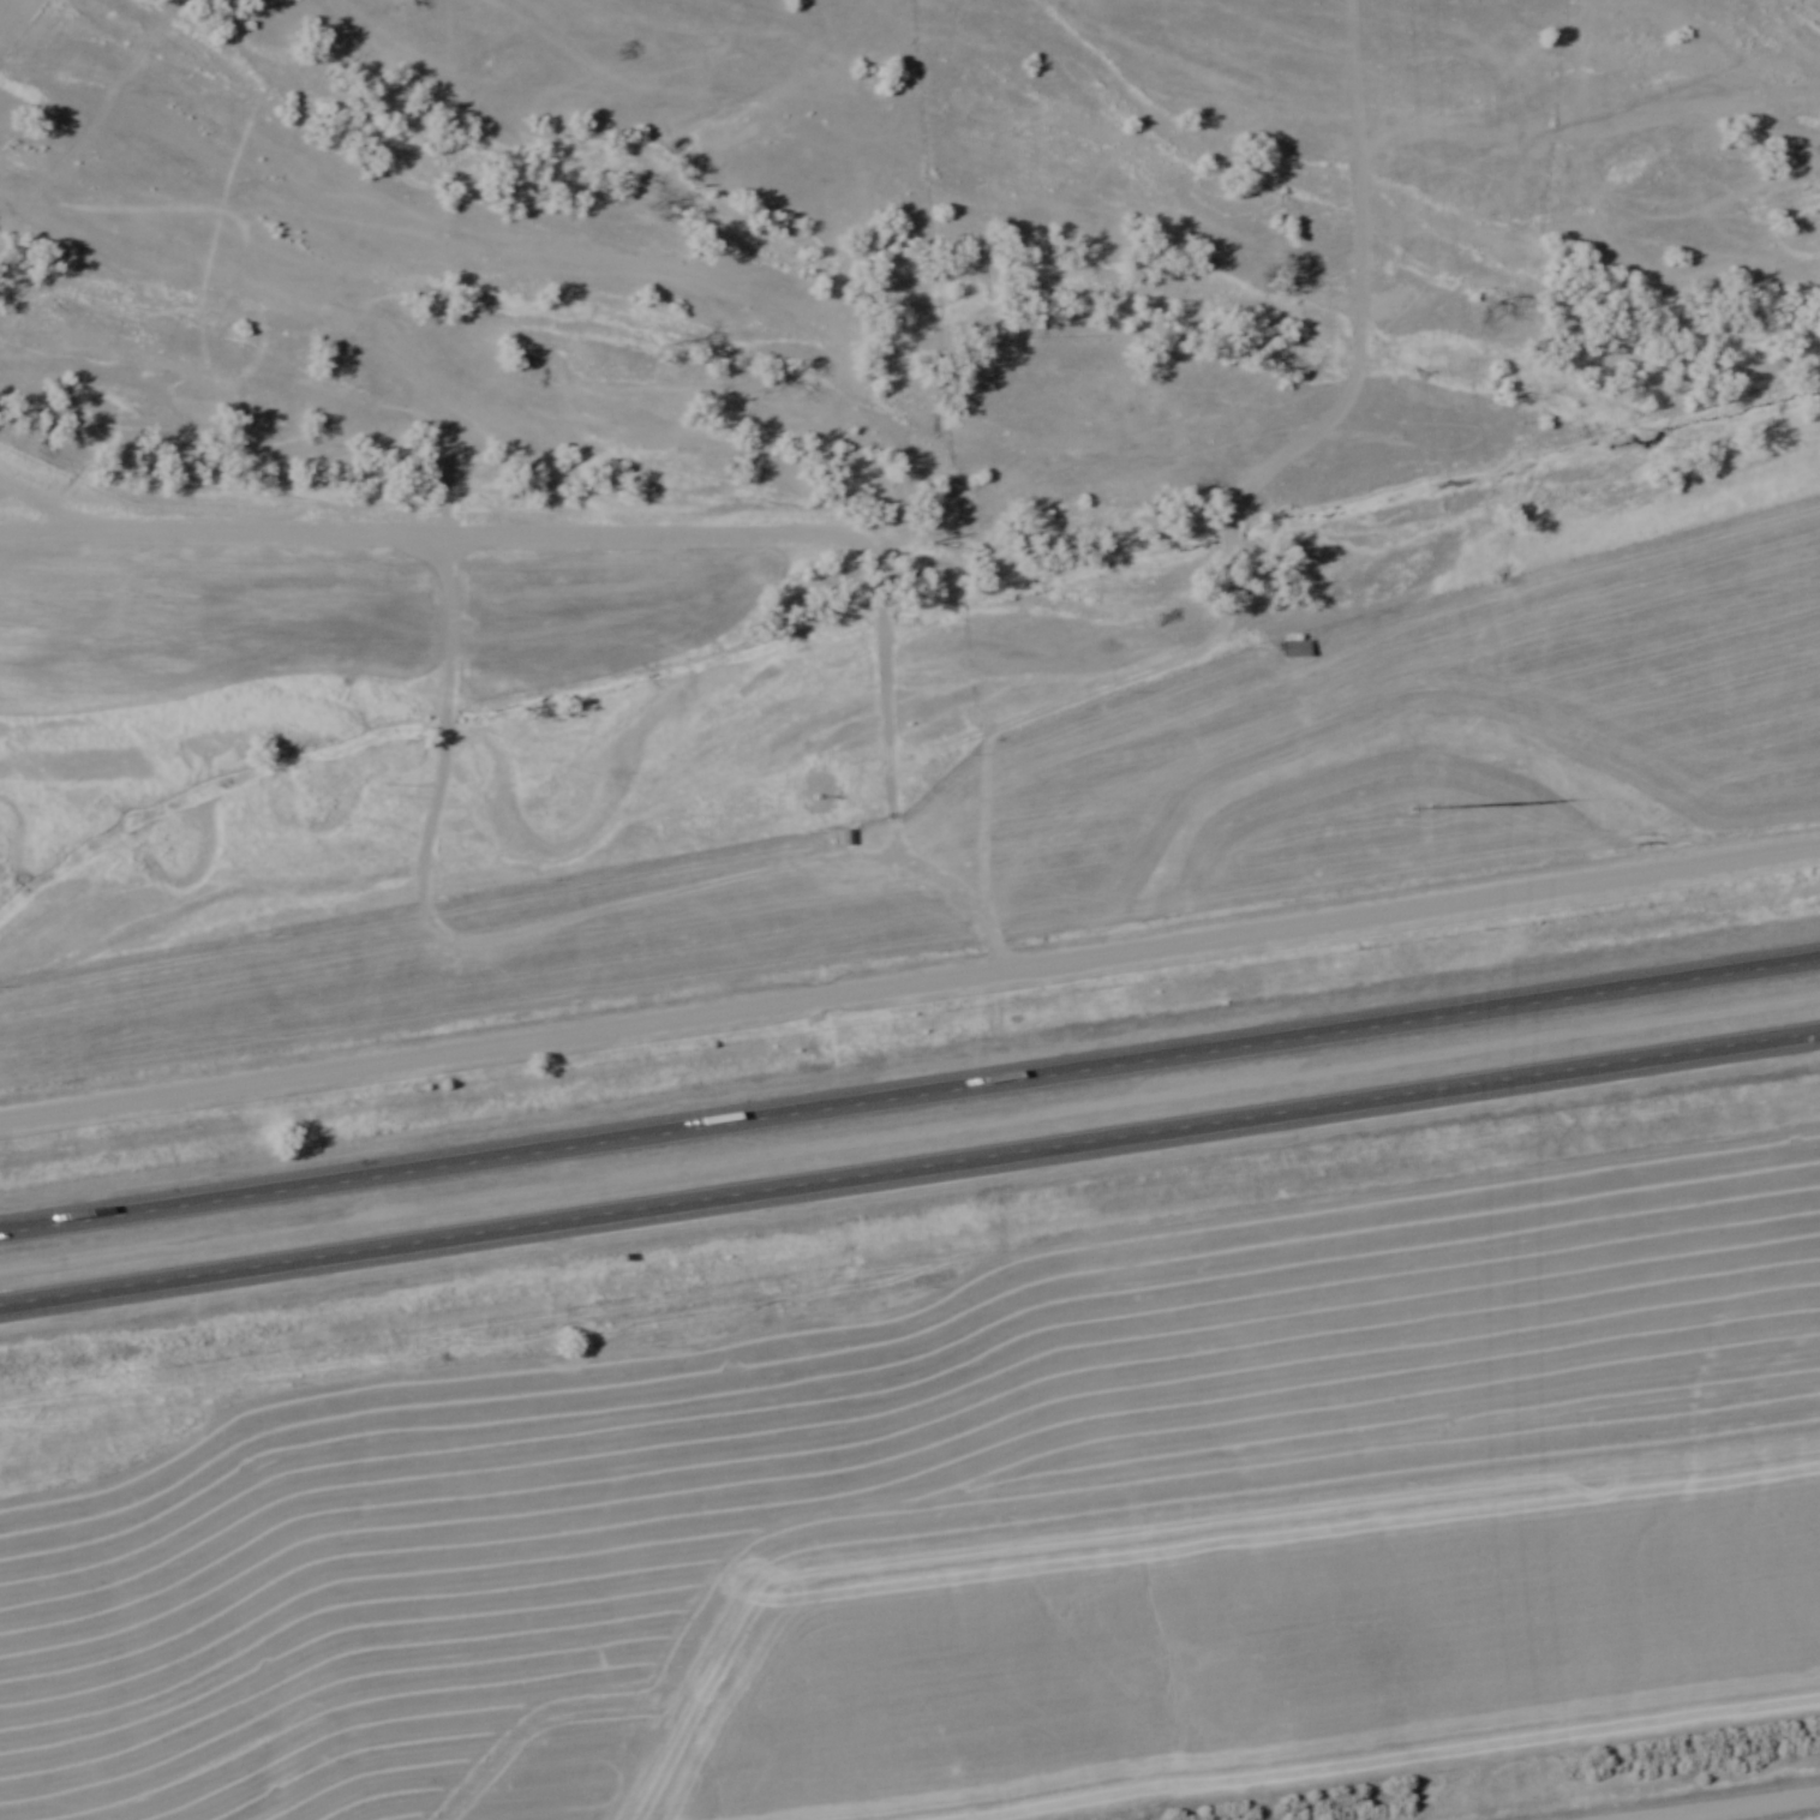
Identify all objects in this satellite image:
building: (1298, 649)
power tower: (1423, 808)
building: (848, 838)
road: (909, 983)
road: (910, 1092)
road: (909, 1166)
road: (1711, 1804)

